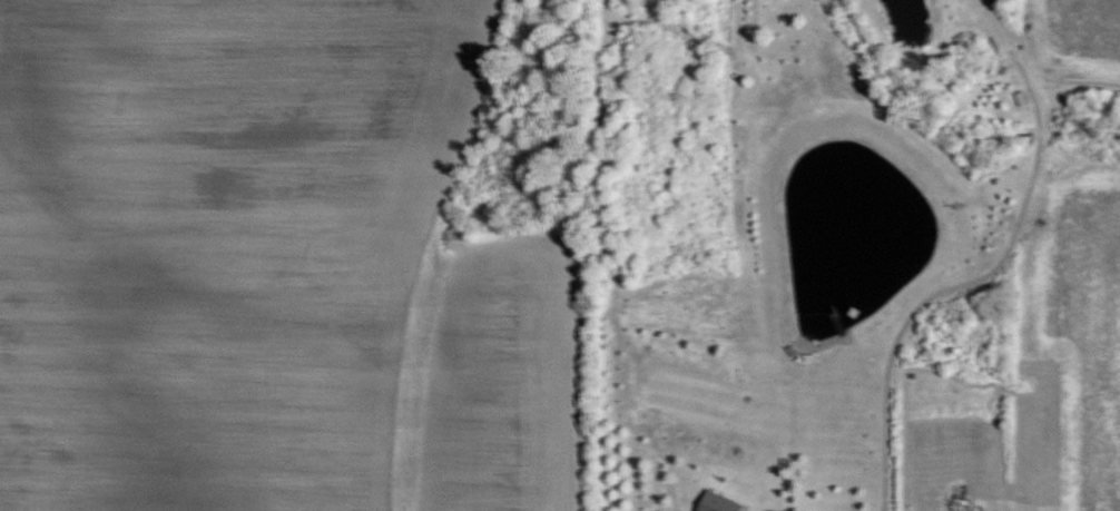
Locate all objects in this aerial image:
building: (719, 502)

